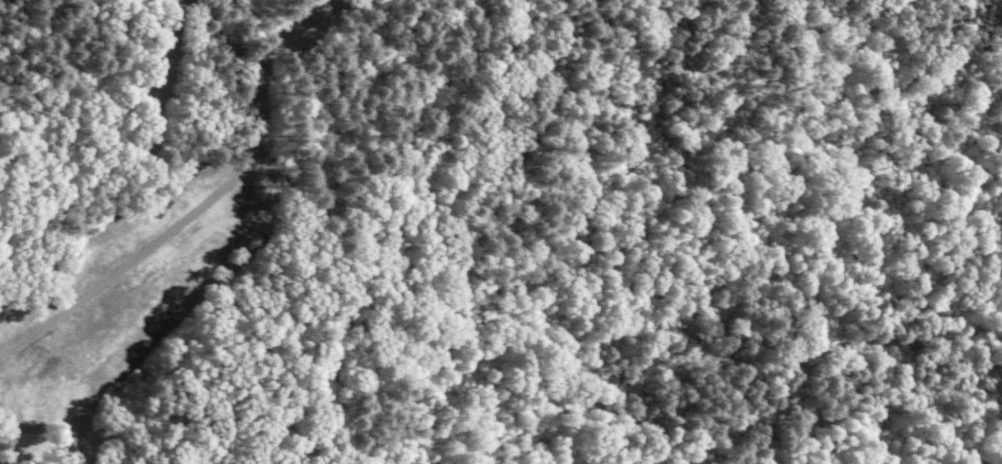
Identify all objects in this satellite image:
road: (212, 29)
road: (297, 29)
road: (568, 61)
road: (168, 231)

